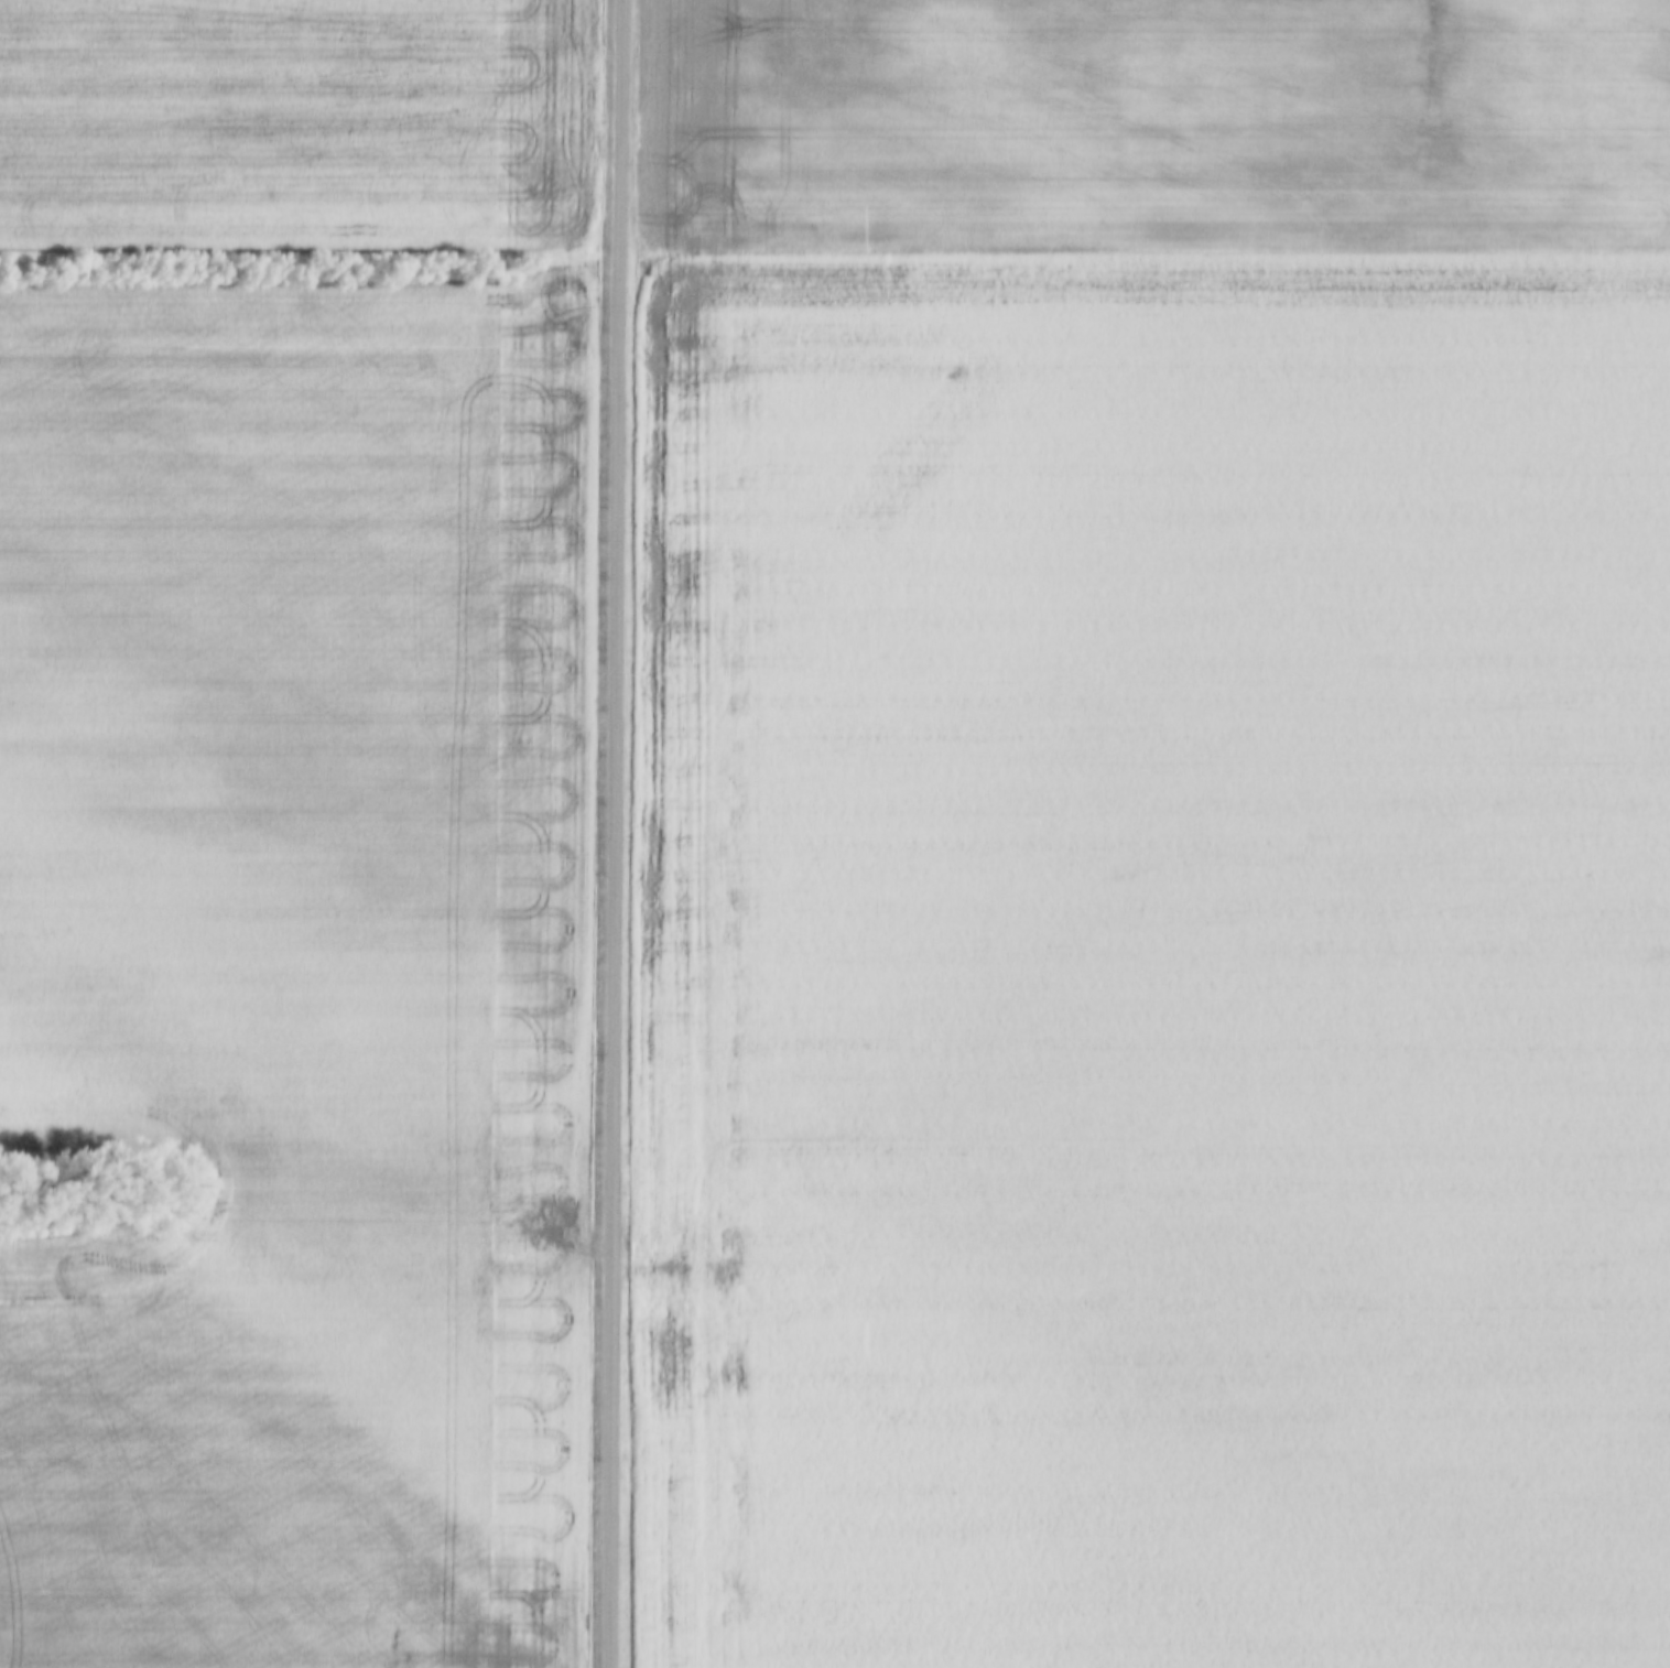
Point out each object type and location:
road: (611, 833)

